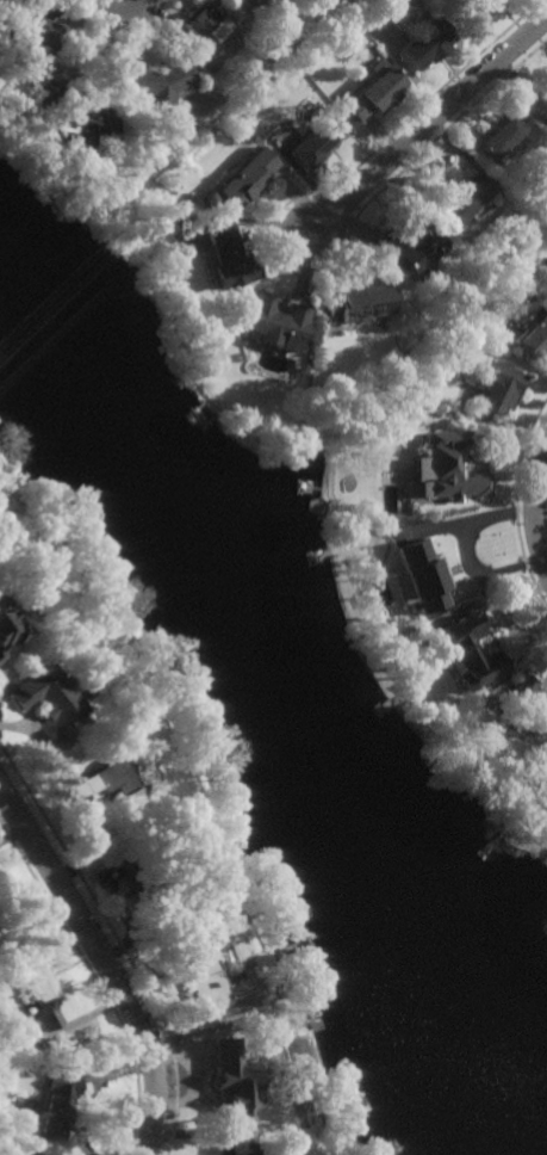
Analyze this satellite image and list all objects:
building: (249, 0)
building: (472, 10)
building: (37, 27)
building: (206, 29)
building: (427, 45)
building: (546, 78)
building: (157, 85)
building: (378, 89)
building: (43, 91)
building: (82, 122)
road: (429, 124)
building: (498, 136)
building: (319, 141)
building: (248, 178)
building: (464, 198)
building: (410, 248)
building: (230, 258)
building: (356, 303)
building: (274, 323)
building: (187, 333)
building: (534, 334)
building: (204, 354)
building: (499, 388)
building: (450, 469)
road: (535, 500)
building: (417, 579)
building: (7, 631)
building: (468, 654)
building: (45, 698)
building: (529, 706)
building: (104, 786)
building: (139, 881)
road: (105, 962)
building: (197, 970)
building: (39, 993)
building: (223, 1071)
building: (55, 1104)
building: (259, 1149)

